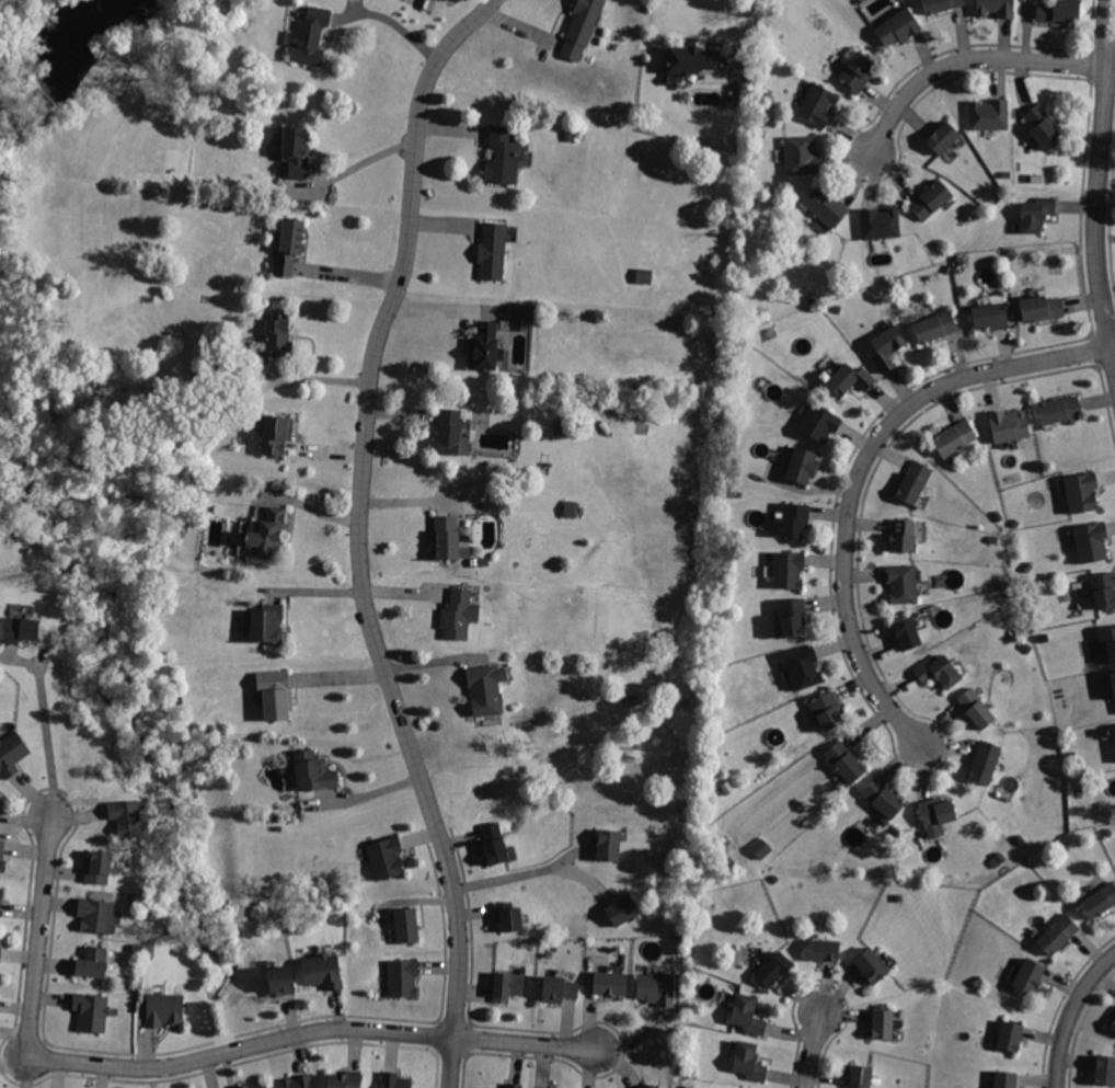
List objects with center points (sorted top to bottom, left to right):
building: (942, 4)
building: (998, 8)
building: (1059, 10)
road: (395, 21)
building: (896, 26)
building: (583, 28)
road: (749, 35)
building: (309, 37)
road: (967, 59)
building: (689, 60)
road: (1111, 70)
building: (857, 73)
building: (816, 106)
building: (991, 114)
building: (1044, 126)
building: (943, 139)
building: (298, 150)
building: (503, 154)
building: (802, 154)
road: (366, 160)
road: (1101, 171)
building: (931, 201)
building: (827, 207)
building: (1036, 213)
building: (882, 222)
building: (288, 247)
building: (493, 252)
building: (643, 275)
road: (447, 305)
building: (1043, 308)
building: (521, 314)
building: (995, 314)
building: (935, 325)
building: (277, 333)
building: (485, 346)
building: (886, 347)
building: (850, 378)
building: (1060, 405)
building: (821, 421)
building: (1009, 425)
building: (450, 432)
building: (275, 434)
building: (955, 436)
building: (802, 465)
road: (863, 471)
building: (916, 481)
building: (1081, 491)
building: (570, 507)
building: (797, 518)
road: (358, 534)
building: (264, 537)
building: (905, 537)
building: (449, 539)
building: (1091, 540)
building: (789, 569)
building: (901, 583)
building: (1104, 589)
building: (458, 615)
building: (792, 616)
building: (267, 625)
building: (21, 628)
building: (906, 633)
building: (1110, 641)
building: (802, 665)
building: (936, 669)
building: (1114, 673)
building: (484, 687)
building: (274, 692)
building: (977, 708)
building: (827, 709)
road: (44, 717)
building: (1114, 729)
building: (11, 751)
building: (844, 761)
building: (985, 763)
building: (312, 771)
building: (0, 789)
road: (365, 791)
building: (883, 799)
building: (936, 813)
building: (127, 817)
building: (493, 845)
building: (608, 846)
building: (760, 847)
building: (3, 855)
building: (386, 857)
building: (97, 867)
road: (514, 877)
building: (1, 898)
building: (1099, 903)
building: (623, 911)
building: (95, 915)
building: (509, 917)
building: (406, 925)
building: (1059, 935)
building: (0, 950)
building: (825, 950)
building: (91, 963)
building: (872, 966)
building: (773, 970)
building: (323, 973)
building: (1030, 977)
building: (404, 978)
building: (280, 982)
building: (610, 984)
building: (509, 985)
building: (559, 989)
building: (655, 989)
building: (164, 1009)
building: (91, 1012)
building: (748, 1016)
road: (1073, 1016)
building: (883, 1023)
building: (1113, 1024)
building: (1010, 1037)
road: (818, 1051)
building: (750, 1062)
road: (192, 1063)
building: (1104, 1070)
building: (861, 1076)
building: (346, 1078)
building: (1003, 1079)
building: (394, 1080)
building: (296, 1081)
building: (255, 1085)
building: (514, 1085)
building: (652, 1086)
building: (487, 1087)

